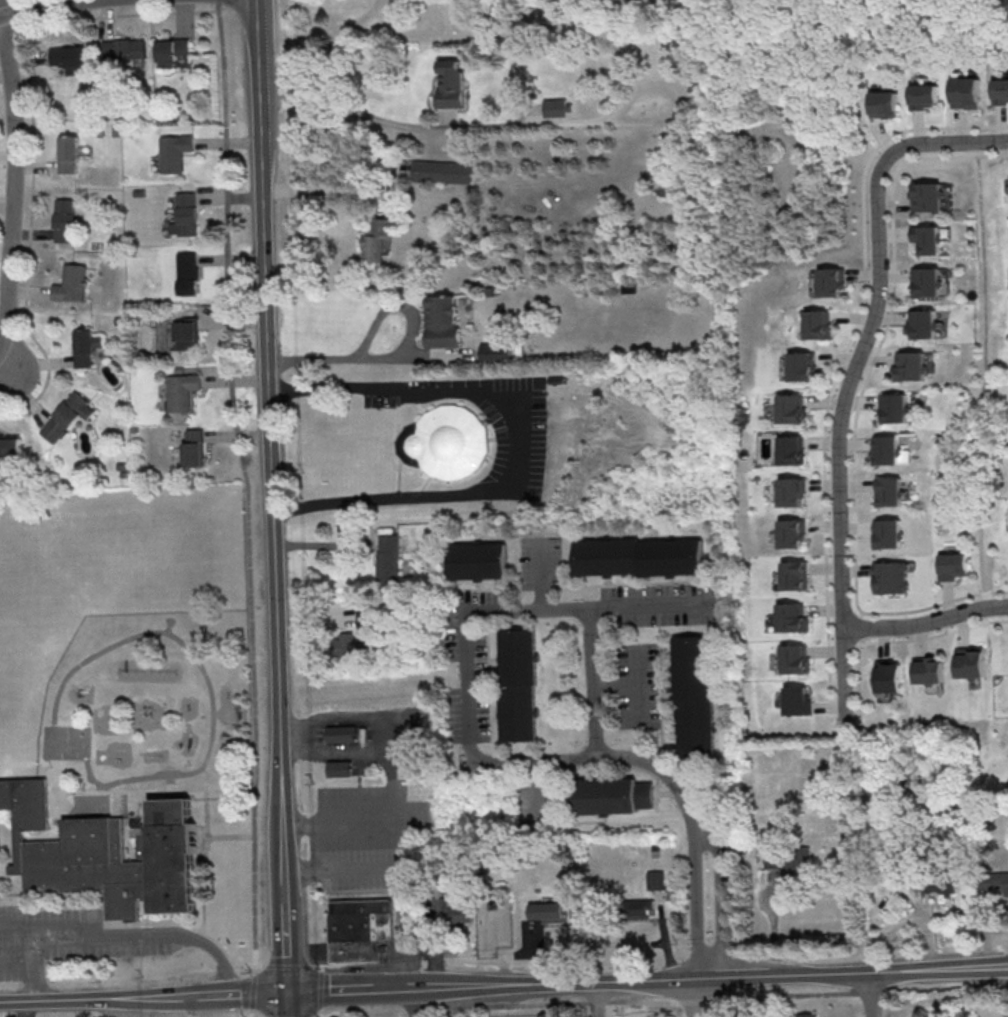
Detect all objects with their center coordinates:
road: (49, 6)
building: (123, 48)
building: (171, 50)
building: (69, 57)
building: (448, 83)
building: (999, 90)
building: (964, 92)
building: (923, 95)
building: (882, 102)
building: (551, 107)
road: (454, 129)
building: (174, 152)
building: (67, 153)
building: (438, 171)
road: (11, 178)
road: (326, 188)
building: (924, 196)
building: (184, 215)
building: (64, 220)
building: (924, 239)
building: (377, 240)
building: (187, 273)
building: (923, 281)
building: (828, 282)
building: (71, 283)
building: (442, 321)
building: (920, 323)
building: (815, 324)
building: (186, 335)
building: (82, 347)
building: (494, 351)
road: (344, 358)
road: (839, 361)
building: (908, 365)
building: (800, 366)
road: (852, 372)
road: (982, 374)
road: (14, 375)
building: (182, 391)
road: (857, 403)
building: (790, 408)
building: (892, 408)
building: (771, 410)
building: (67, 416)
road: (526, 438)
building: (450, 442)
building: (10, 446)
building: (191, 449)
building: (789, 449)
building: (885, 449)
building: (791, 491)
building: (888, 491)
road: (272, 508)
building: (887, 533)
road: (314, 544)
building: (388, 558)
building: (480, 559)
building: (640, 565)
building: (953, 565)
building: (795, 575)
building: (891, 576)
building: (778, 581)
road: (642, 601)
building: (364, 615)
building: (792, 616)
road: (926, 622)
road: (856, 627)
road: (898, 640)
building: (351, 643)
building: (796, 659)
building: (971, 661)
building: (929, 670)
building: (890, 676)
building: (522, 683)
road: (616, 683)
road: (640, 686)
road: (464, 689)
building: (690, 692)
building: (799, 700)
road: (391, 732)
building: (341, 733)
road: (299, 737)
building: (338, 768)
building: (610, 795)
road: (406, 844)
building: (107, 855)
building: (772, 857)
building: (796, 861)
building: (993, 883)
building: (939, 884)
road: (694, 902)
road: (718, 902)
building: (637, 908)
building: (547, 911)
building: (453, 912)
building: (353, 919)
building: (337, 920)
road: (7, 921)
road: (770, 926)
road: (143, 936)
road: (27, 938)
building: (355, 949)
road: (15, 961)
road: (710, 978)
road: (31, 980)
road: (349, 986)
road: (1005, 992)
road: (142, 993)
road: (872, 995)
road: (694, 998)
road: (593, 999)
road: (413, 1001)
road: (250, 1013)
building: (806, 1014)

